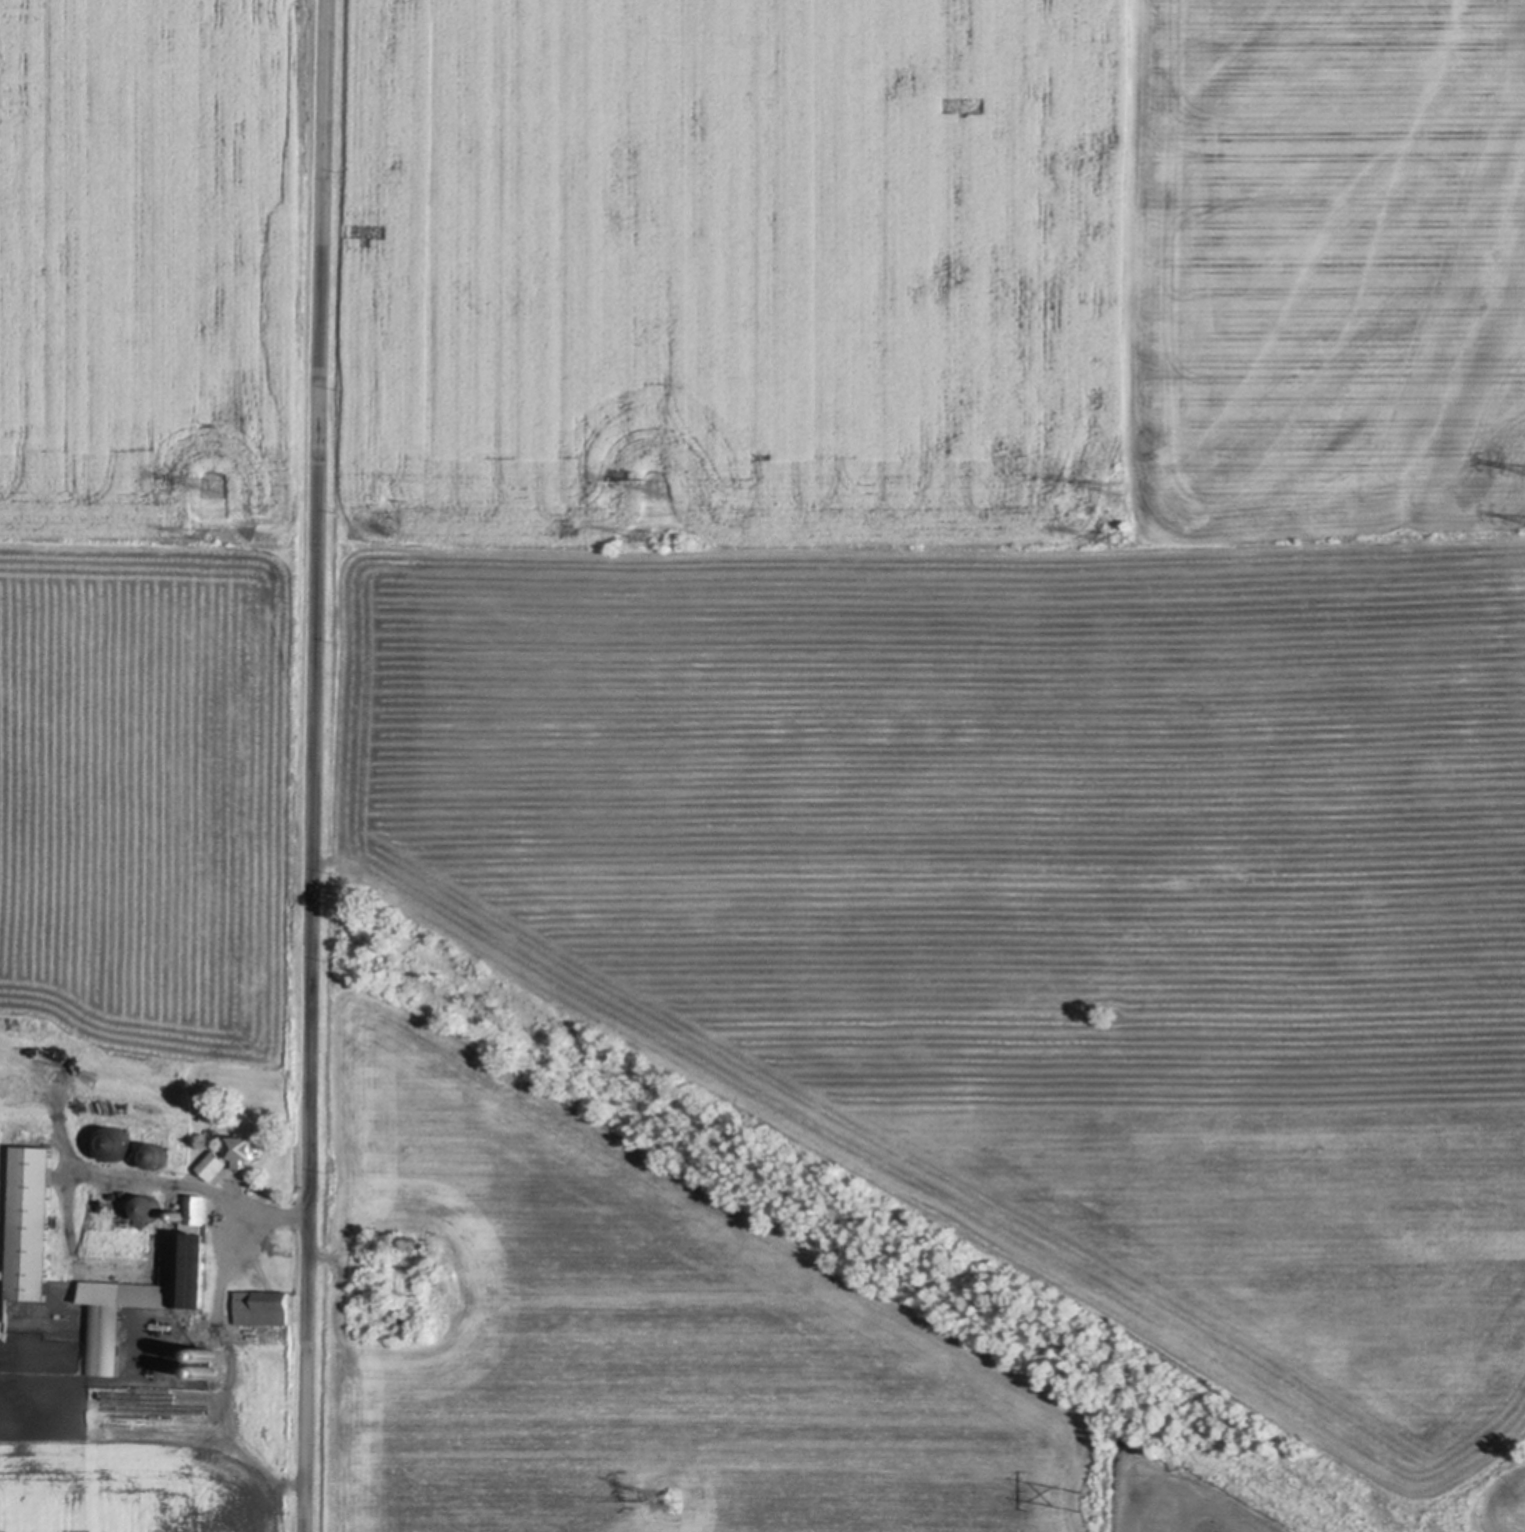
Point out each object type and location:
power tower: (214, 486)
power tower: (656, 488)
power tower: (1115, 490)
power tower: (213, 536)
power tower: (657, 539)
power tower: (1116, 540)
road: (317, 765)
building: (116, 1143)
building: (244, 1153)
building: (157, 1156)
building: (215, 1167)
building: (150, 1208)
building: (183, 1216)
building: (32, 1226)
building: (414, 1242)
building: (151, 1292)
building: (263, 1309)
building: (208, 1356)
building: (207, 1377)
road: (1188, 1488)
power tower: (669, 1503)
power tower: (1087, 1504)
road: (1195, 1513)
road: (1252, 1527)

